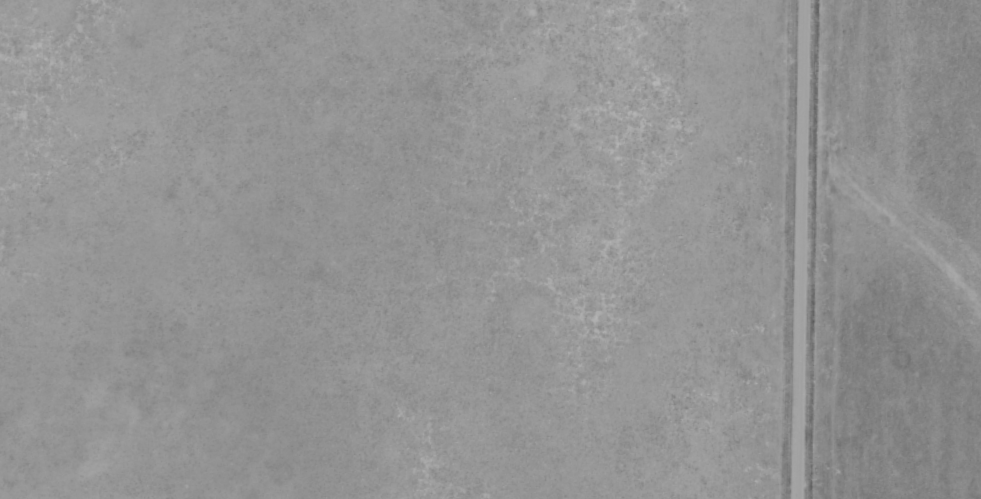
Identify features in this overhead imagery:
road: (804, 249)

